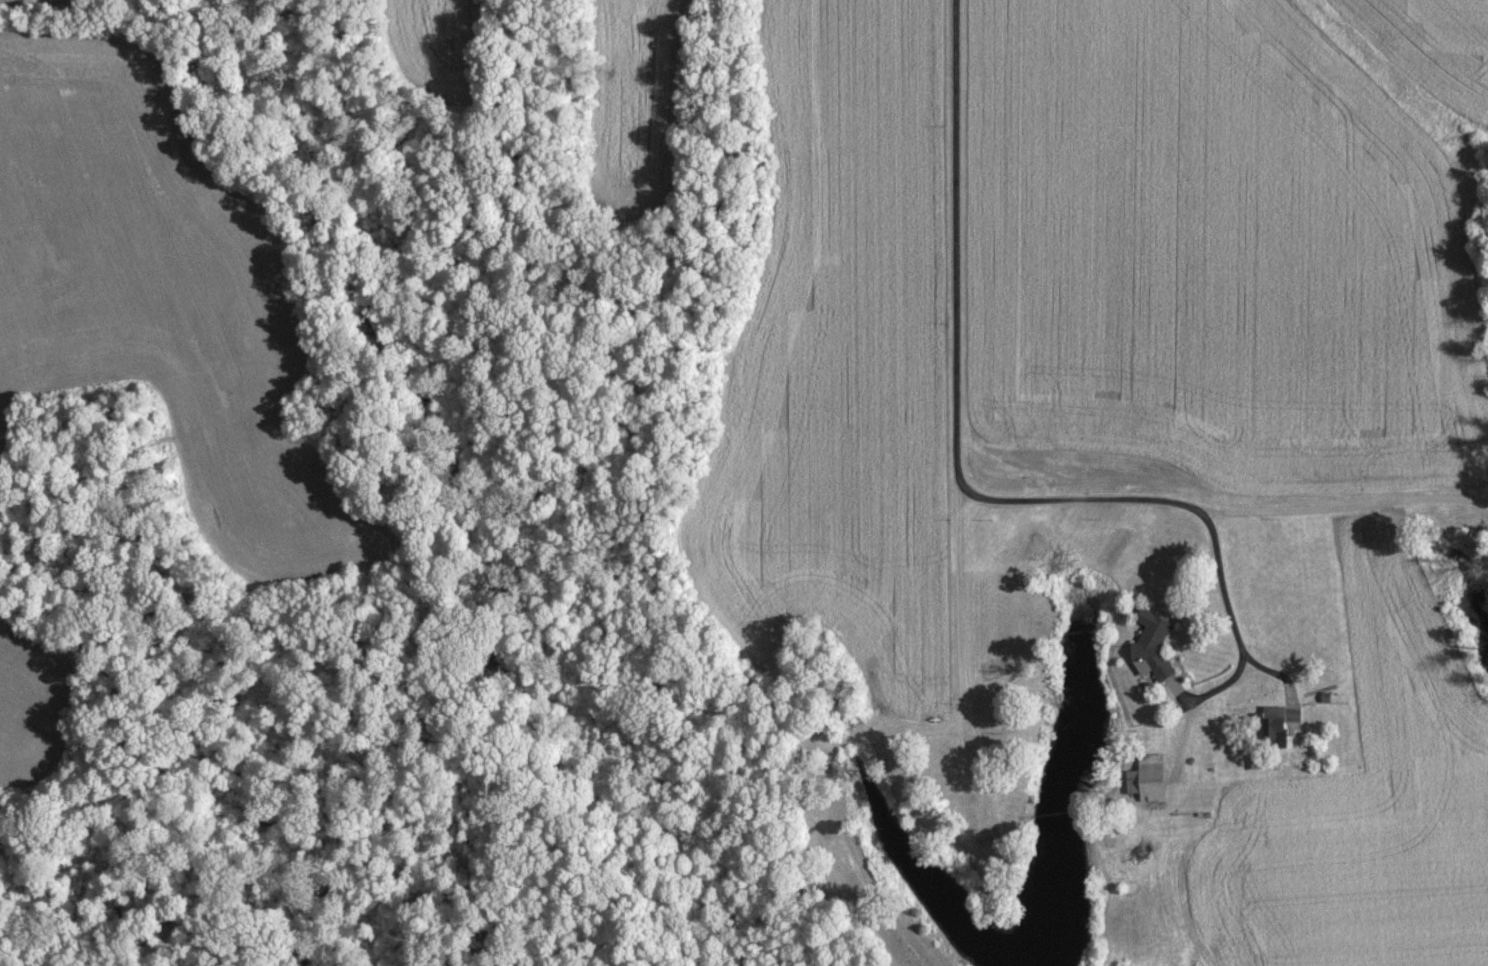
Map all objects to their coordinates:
road: (953, 249)
road: (1190, 504)
building: (1155, 650)
building: (1281, 725)
building: (1148, 777)

